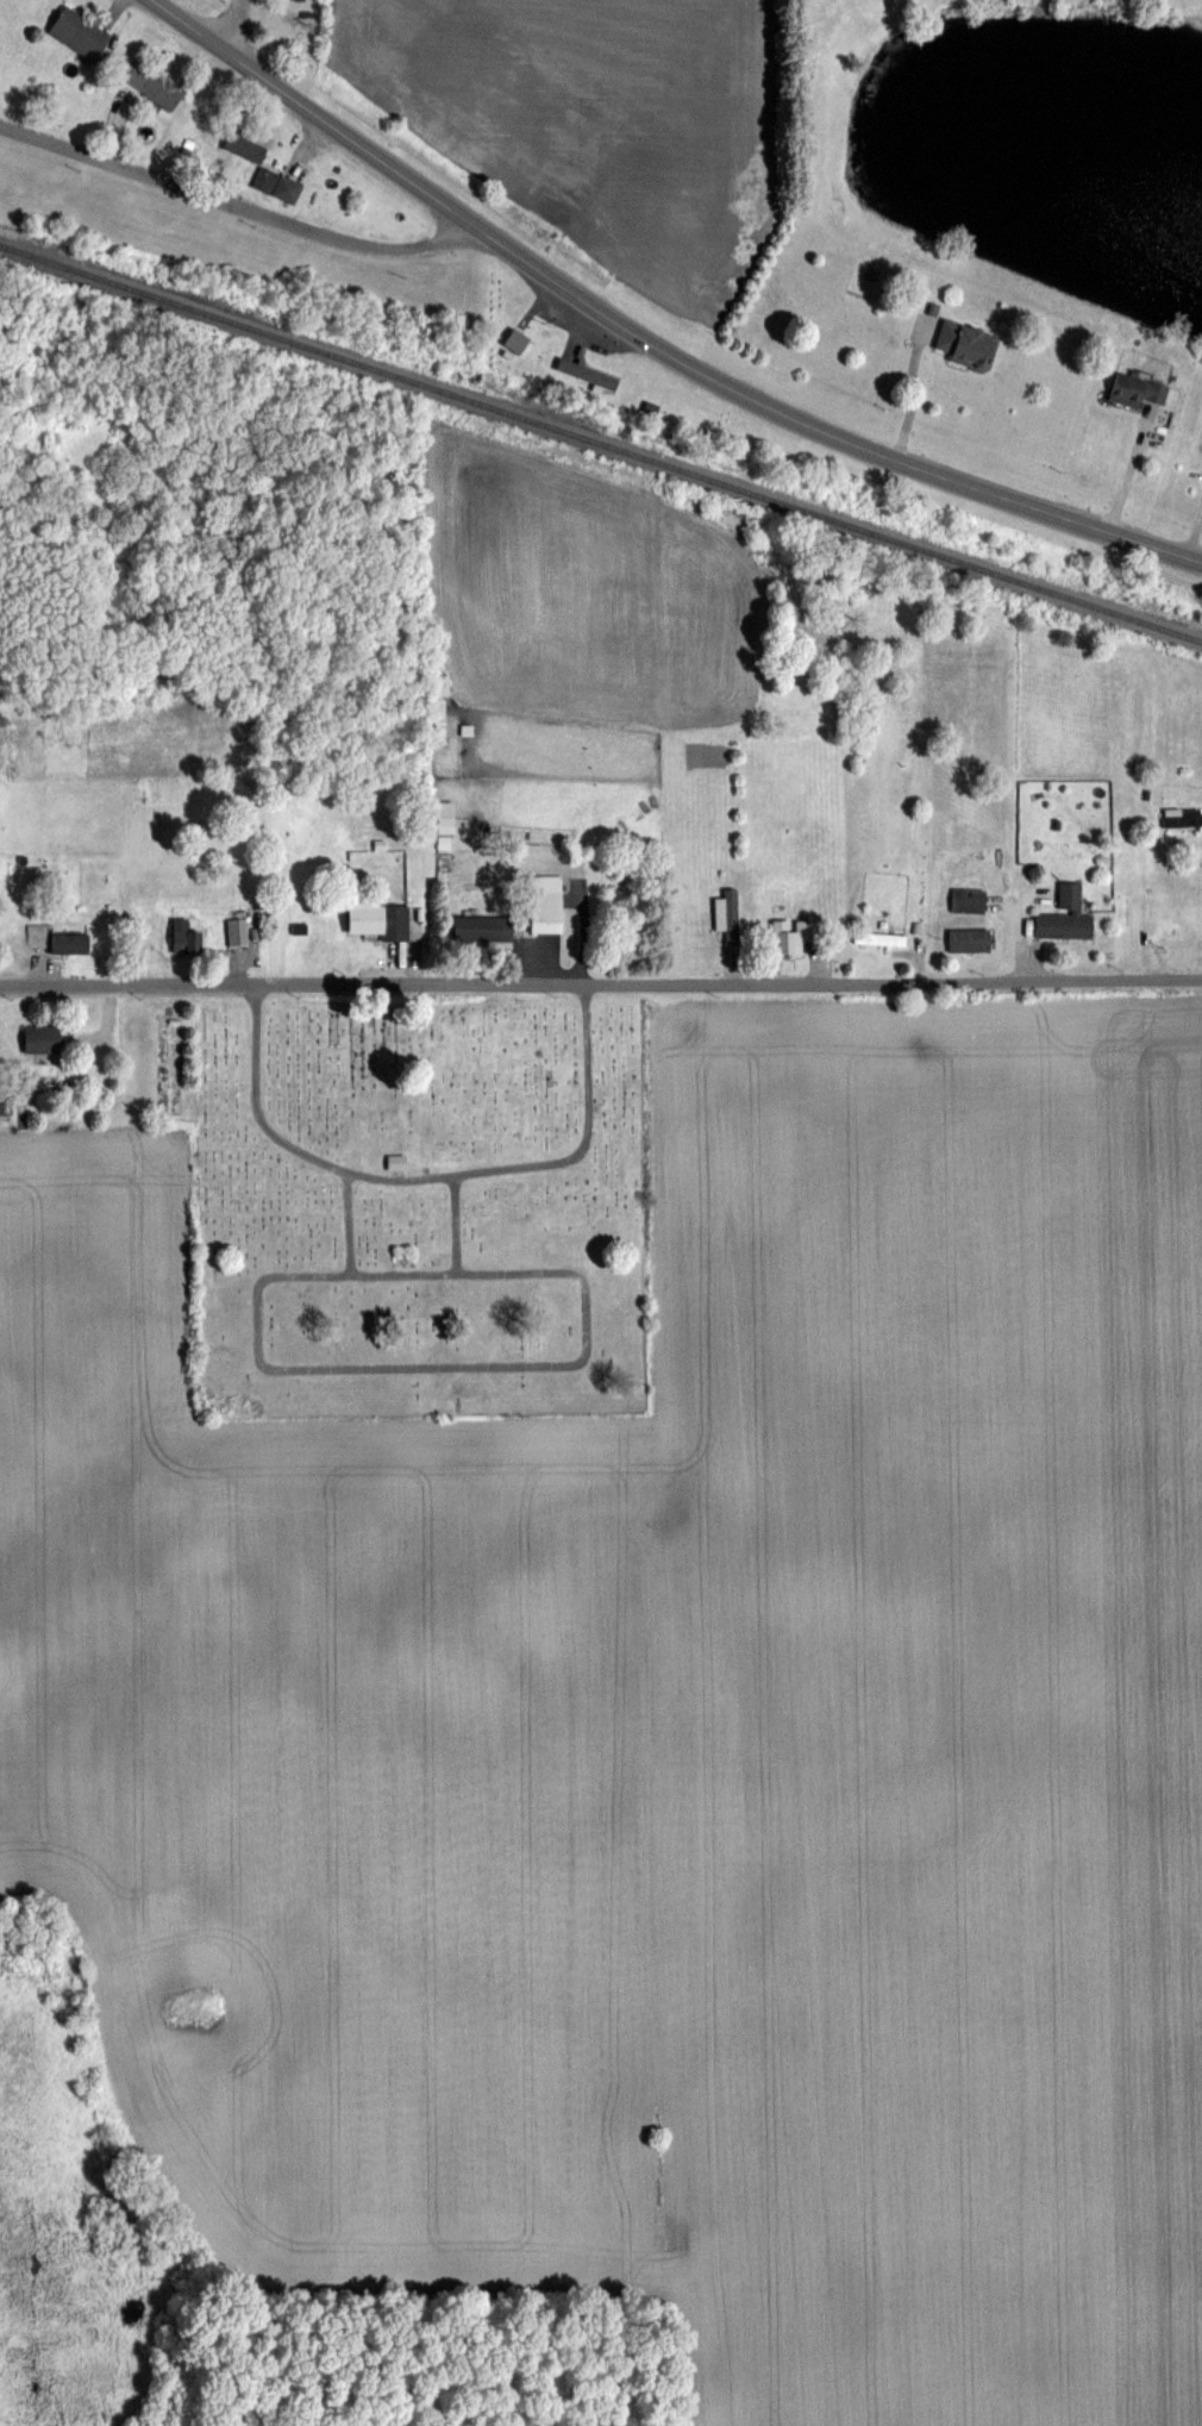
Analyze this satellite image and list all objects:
road: (239, 30)
building: (84, 33)
building: (165, 89)
crop: (606, 114)
railway: (56, 192)
road: (227, 202)
road: (465, 227)
railway: (111, 329)
road: (646, 339)
road: (912, 389)
building: (1144, 389)
railway: (600, 442)
road: (1131, 471)
building: (443, 707)
building: (450, 815)
building: (552, 902)
building: (1069, 917)
building: (381, 919)
building: (489, 927)
building: (884, 938)
building: (971, 938)
building: (73, 942)
road: (601, 983)
building: (46, 1038)
road: (420, 1176)
park: (422, 1203)
road: (339, 1223)
road: (449, 1223)
road: (20, 1346)
road: (481, 1369)

